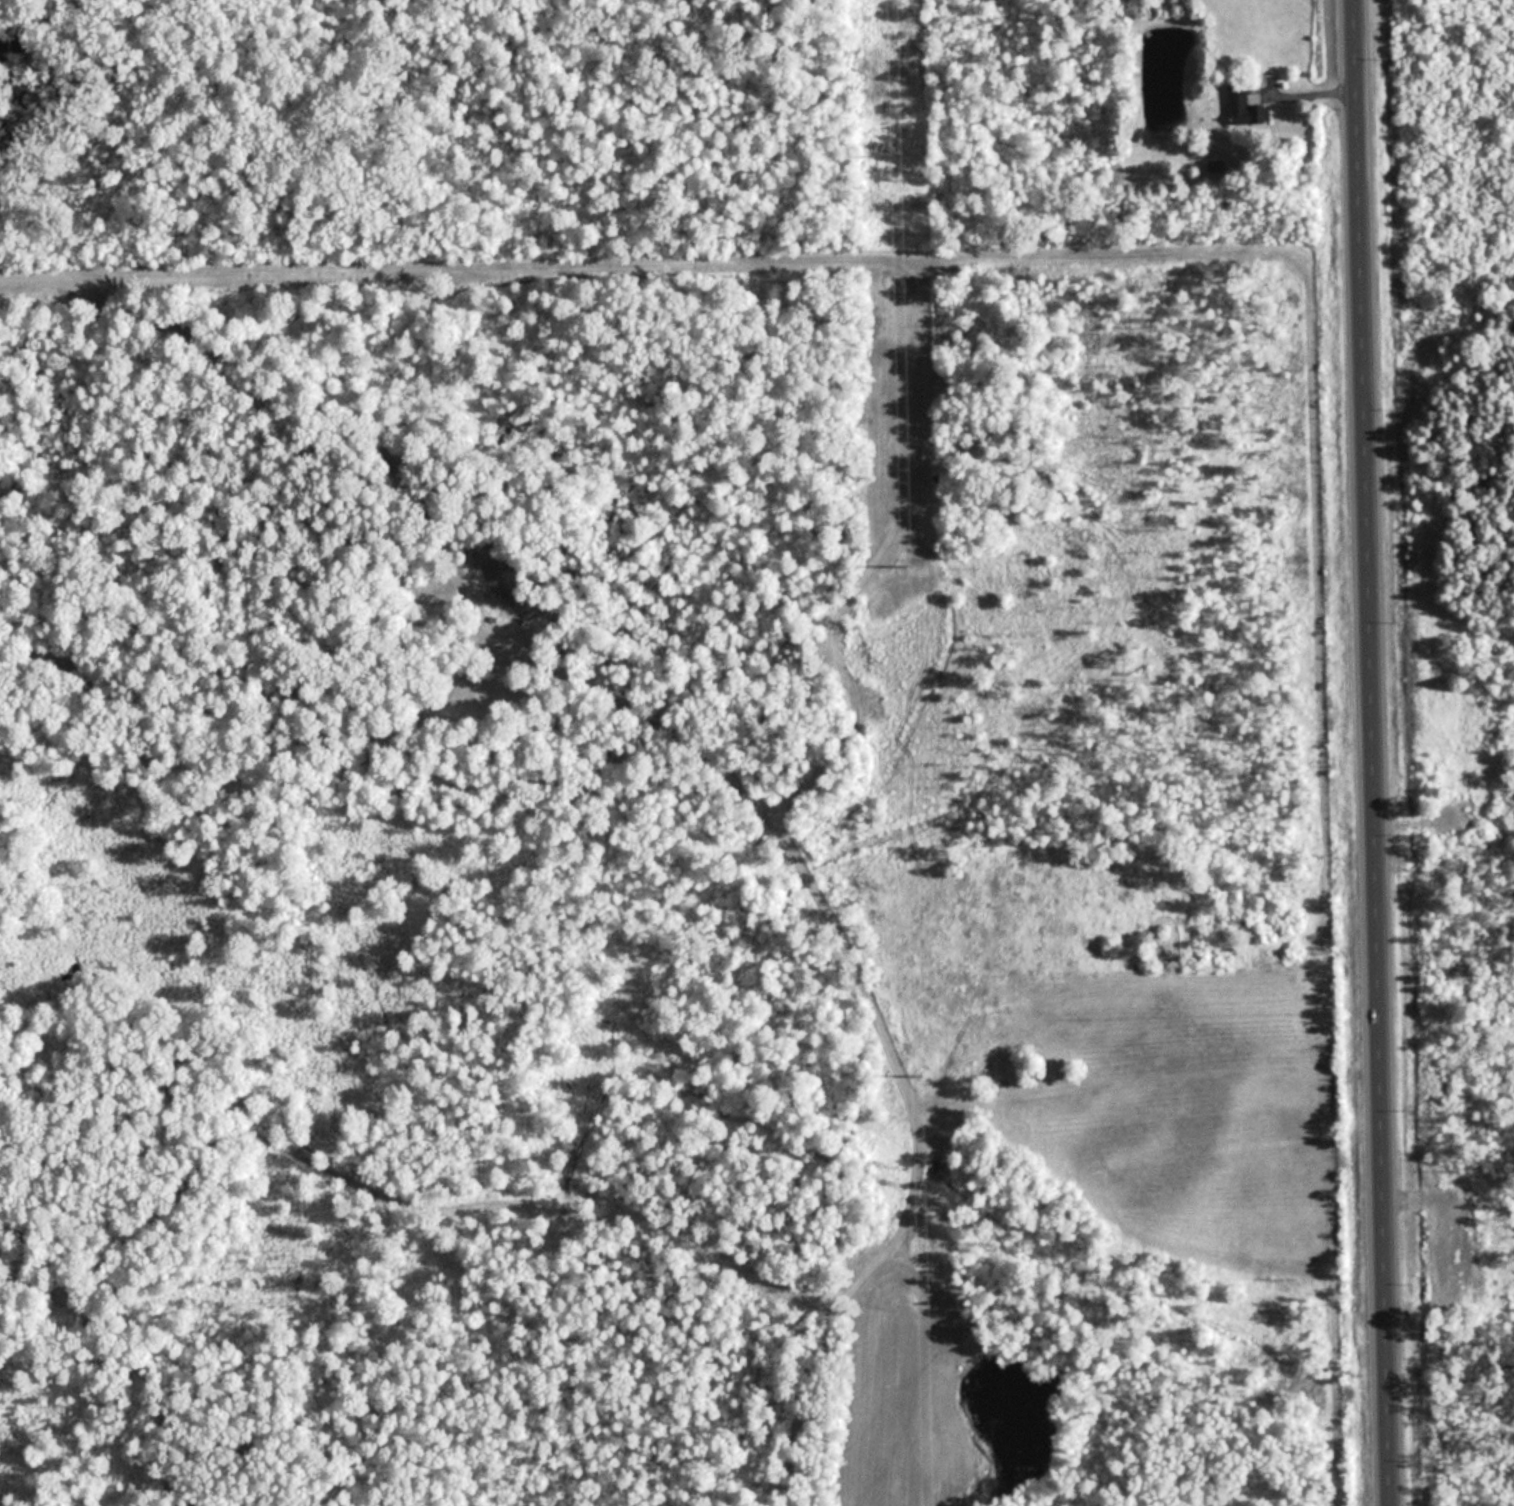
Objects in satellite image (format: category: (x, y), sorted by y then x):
building: (1243, 107)
park: (548, 129)
power tower: (897, 159)
park: (1435, 562)
power tower: (905, 568)
road: (1373, 752)
power tower: (919, 1076)

